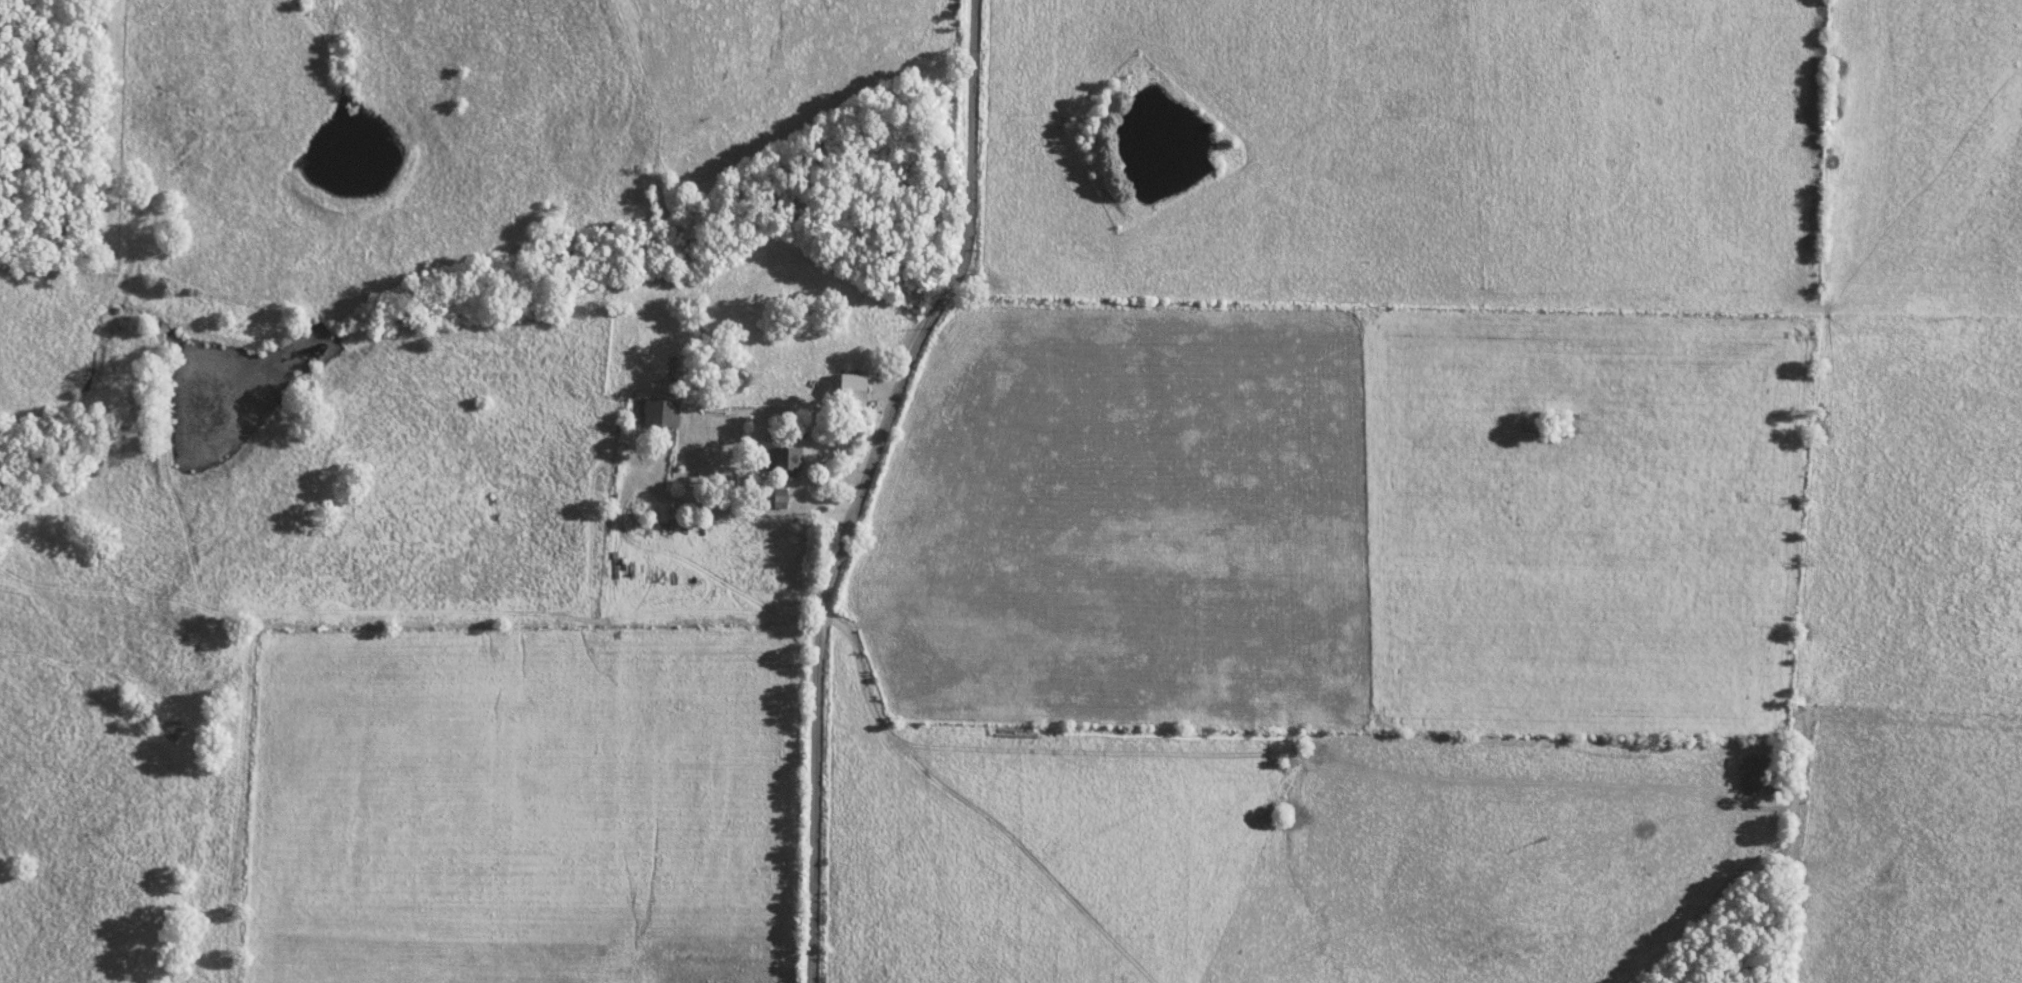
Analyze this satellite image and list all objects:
building: (854, 397)
building: (662, 414)
building: (787, 460)
road: (864, 483)
road: (969, 808)

